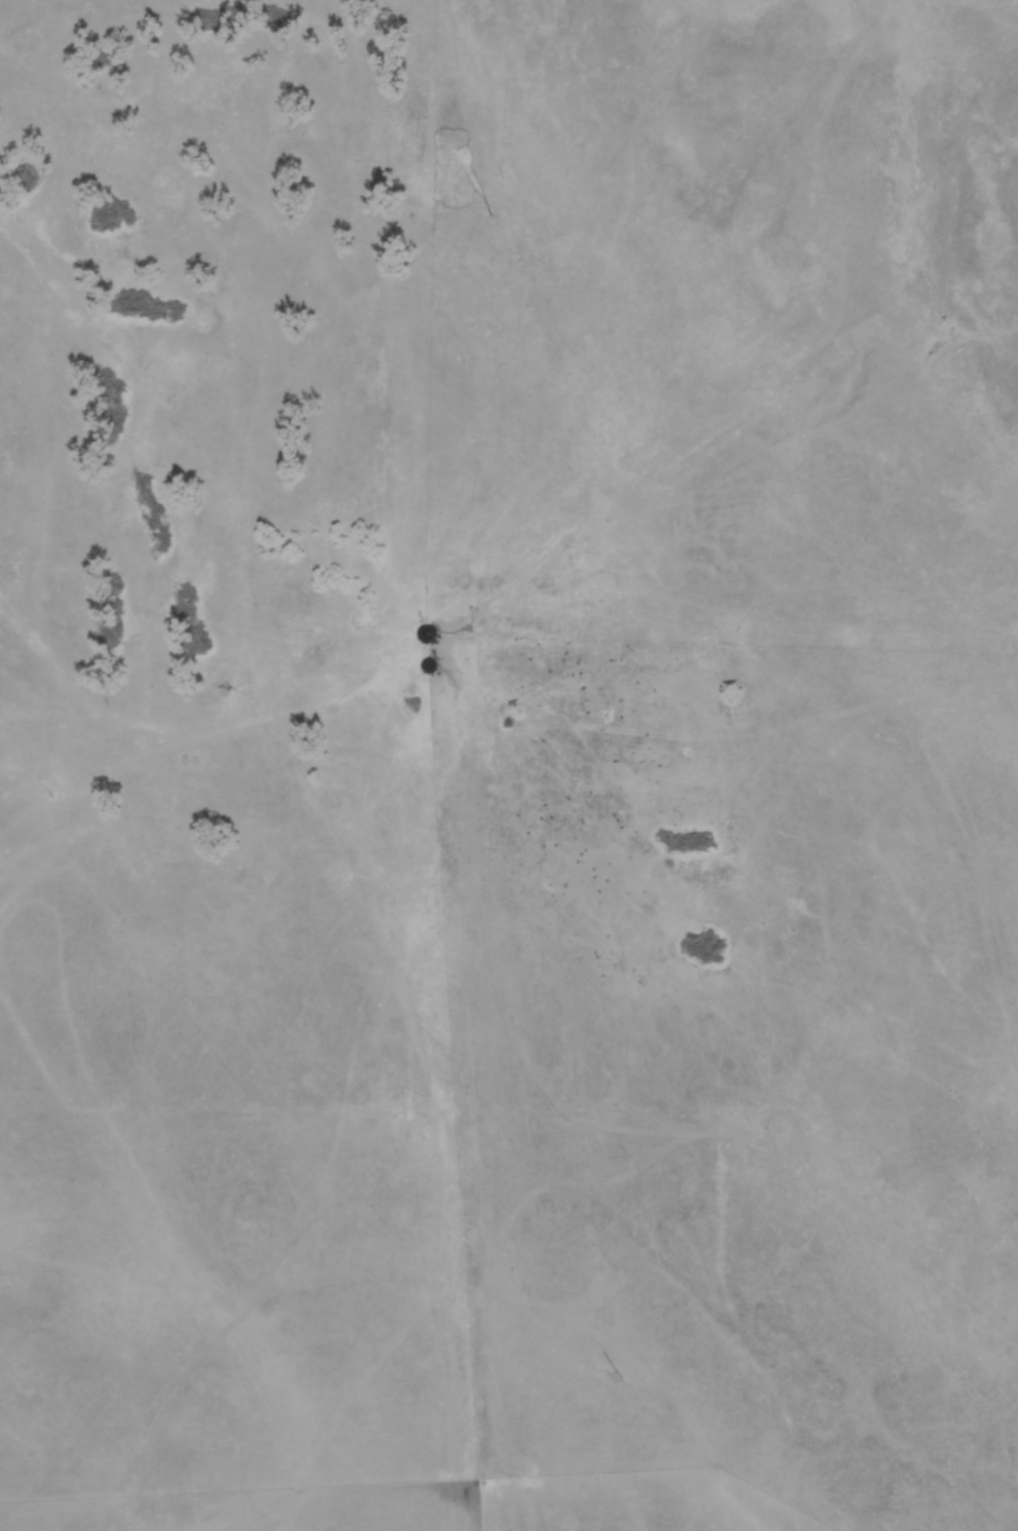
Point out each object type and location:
power tower: (620, 1377)

